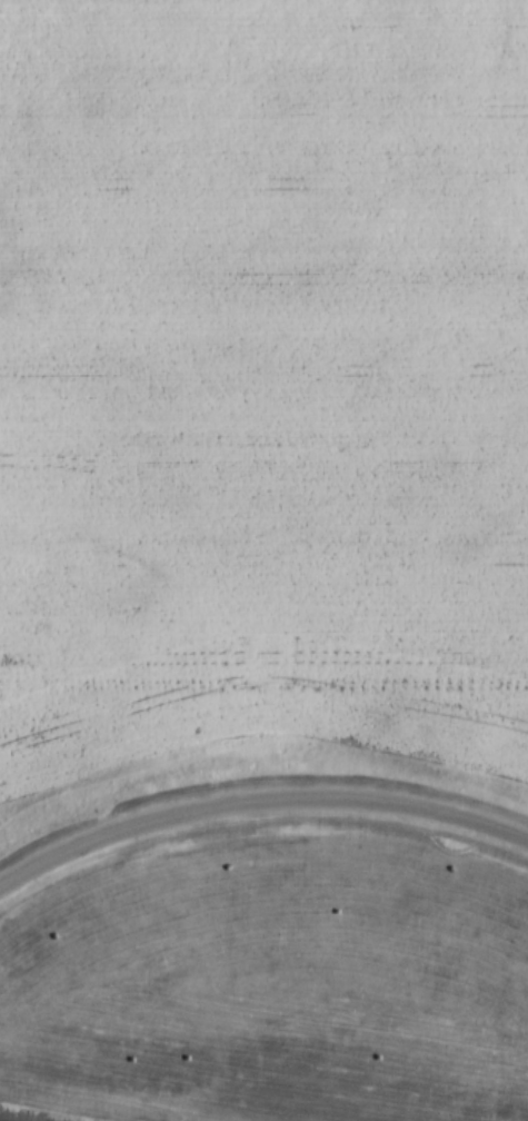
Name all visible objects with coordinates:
road: (258, 804)

